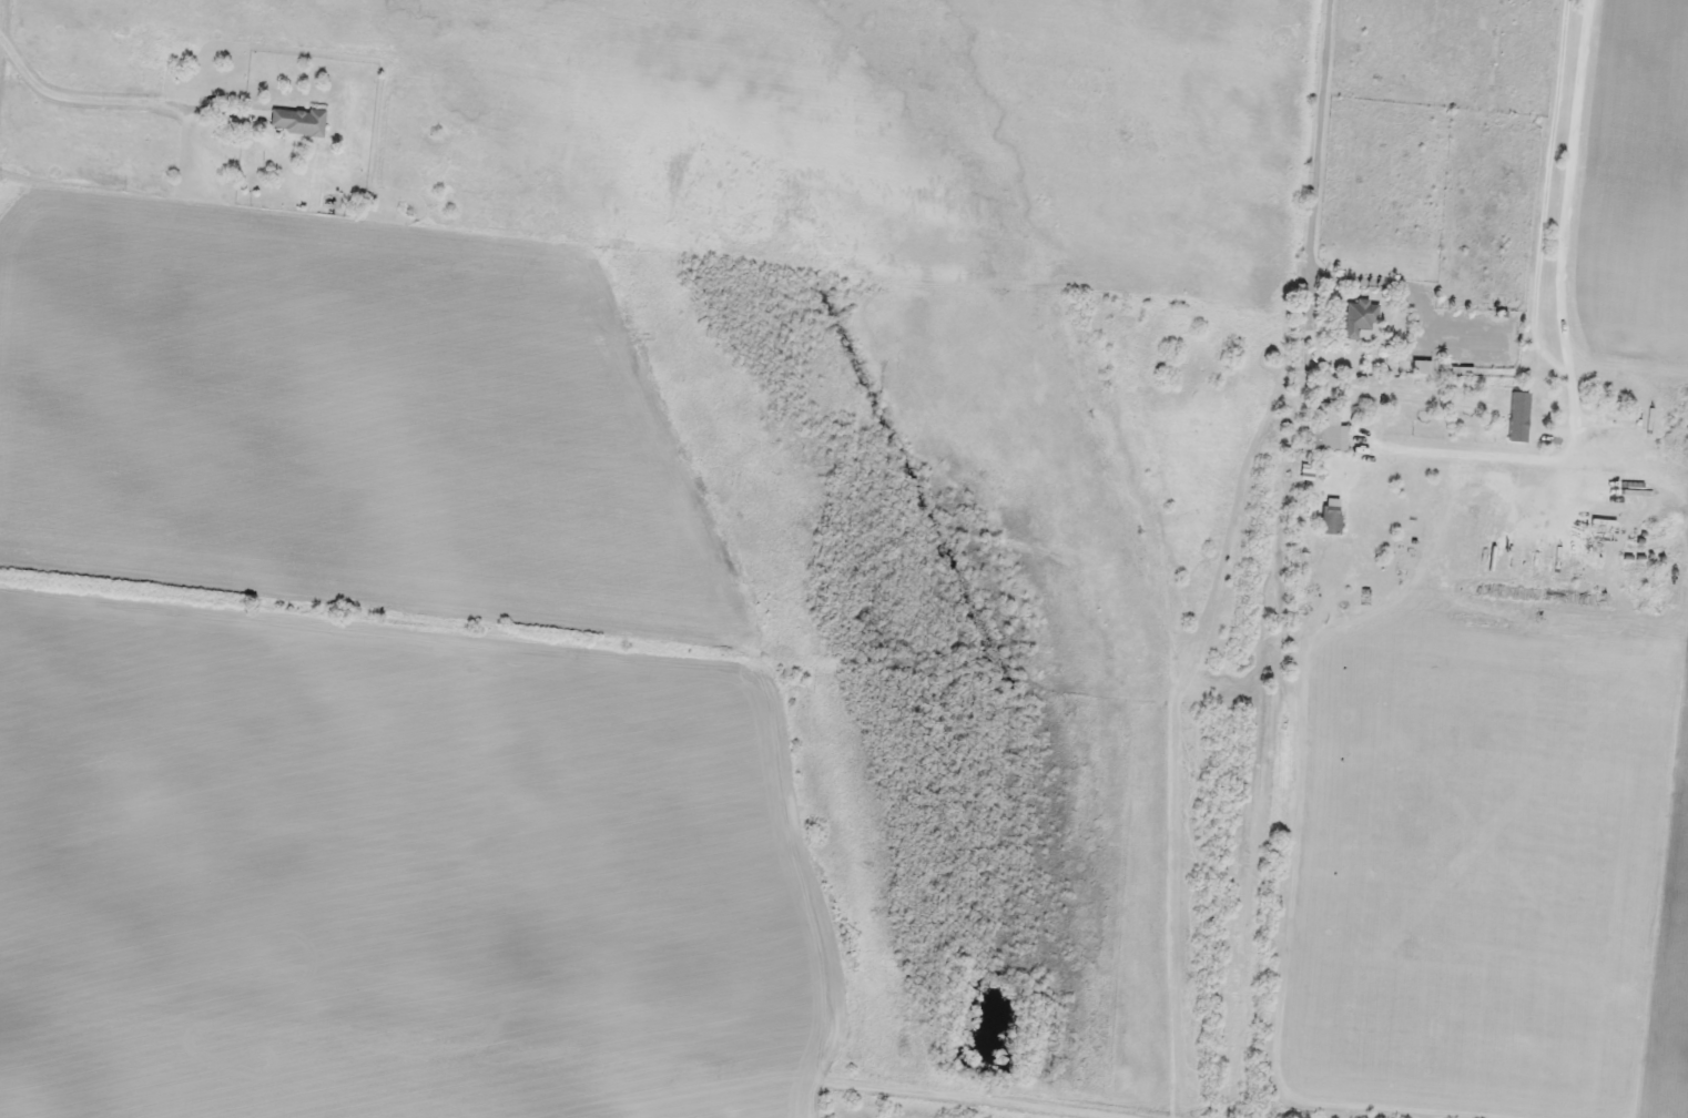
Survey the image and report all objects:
building: (296, 120)
building: (1361, 318)
building: (1325, 426)
building: (1331, 515)
road: (789, 782)
road: (589, 1047)

